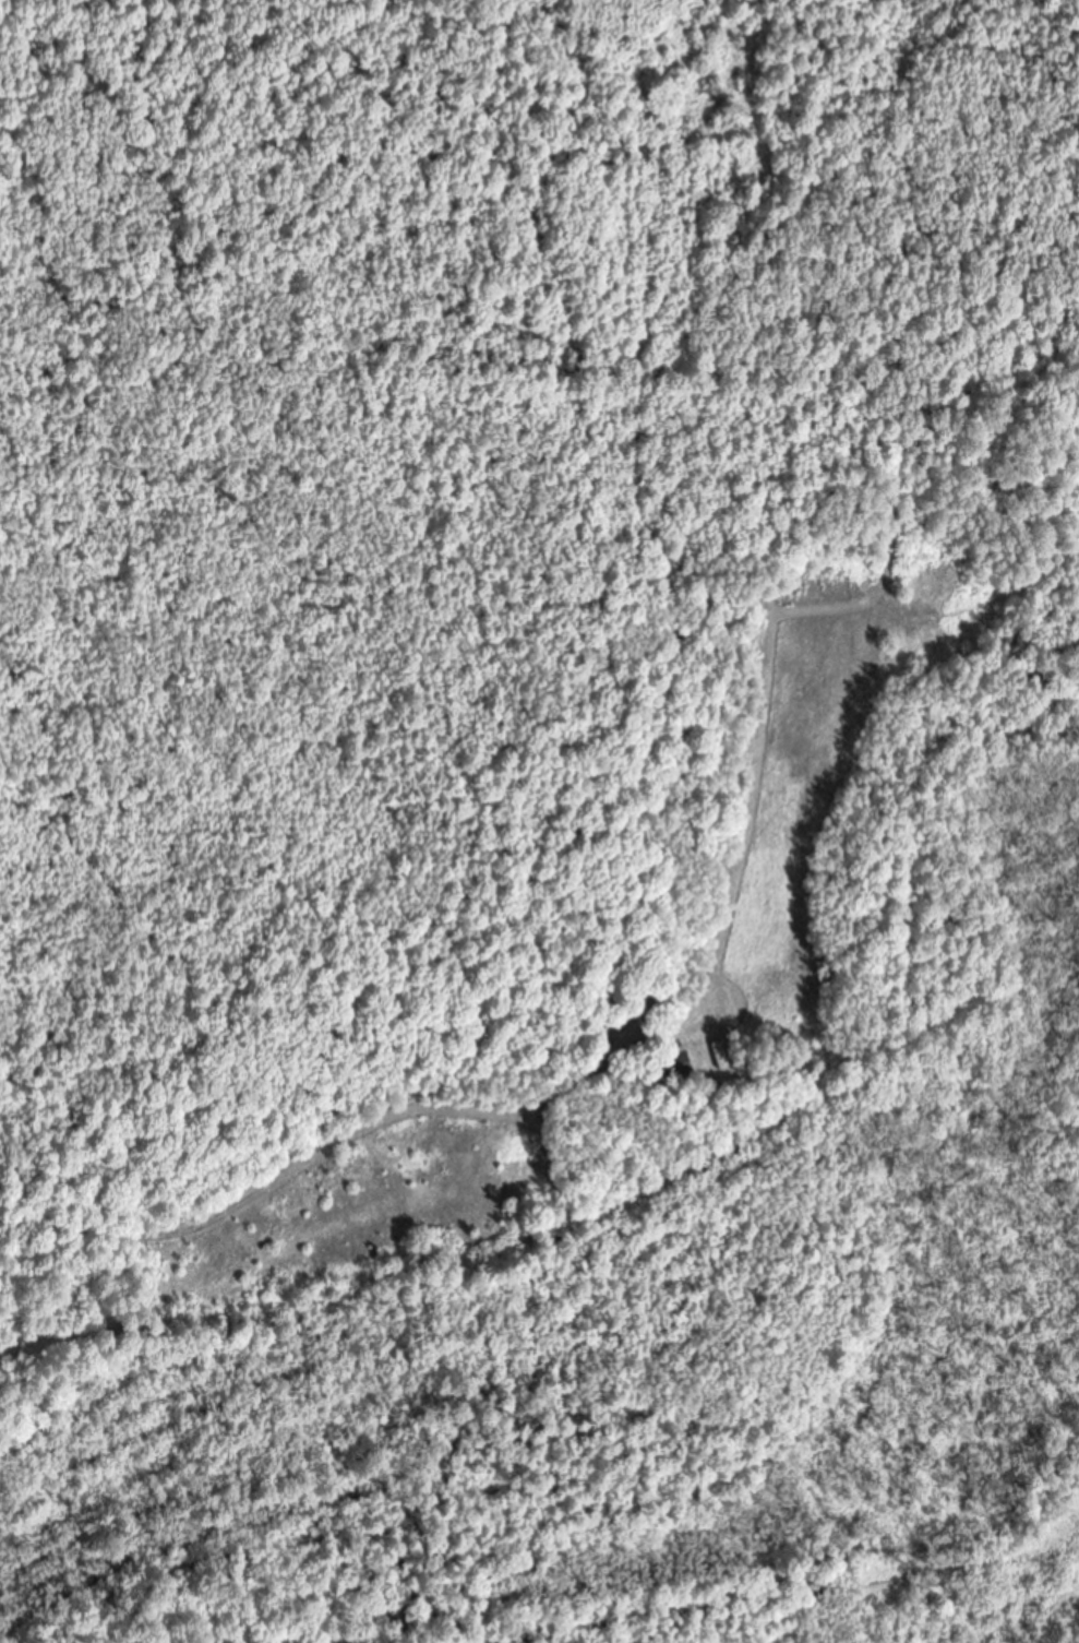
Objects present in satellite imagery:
building: (721, 1056)
building: (676, 1064)
road: (312, 1159)

